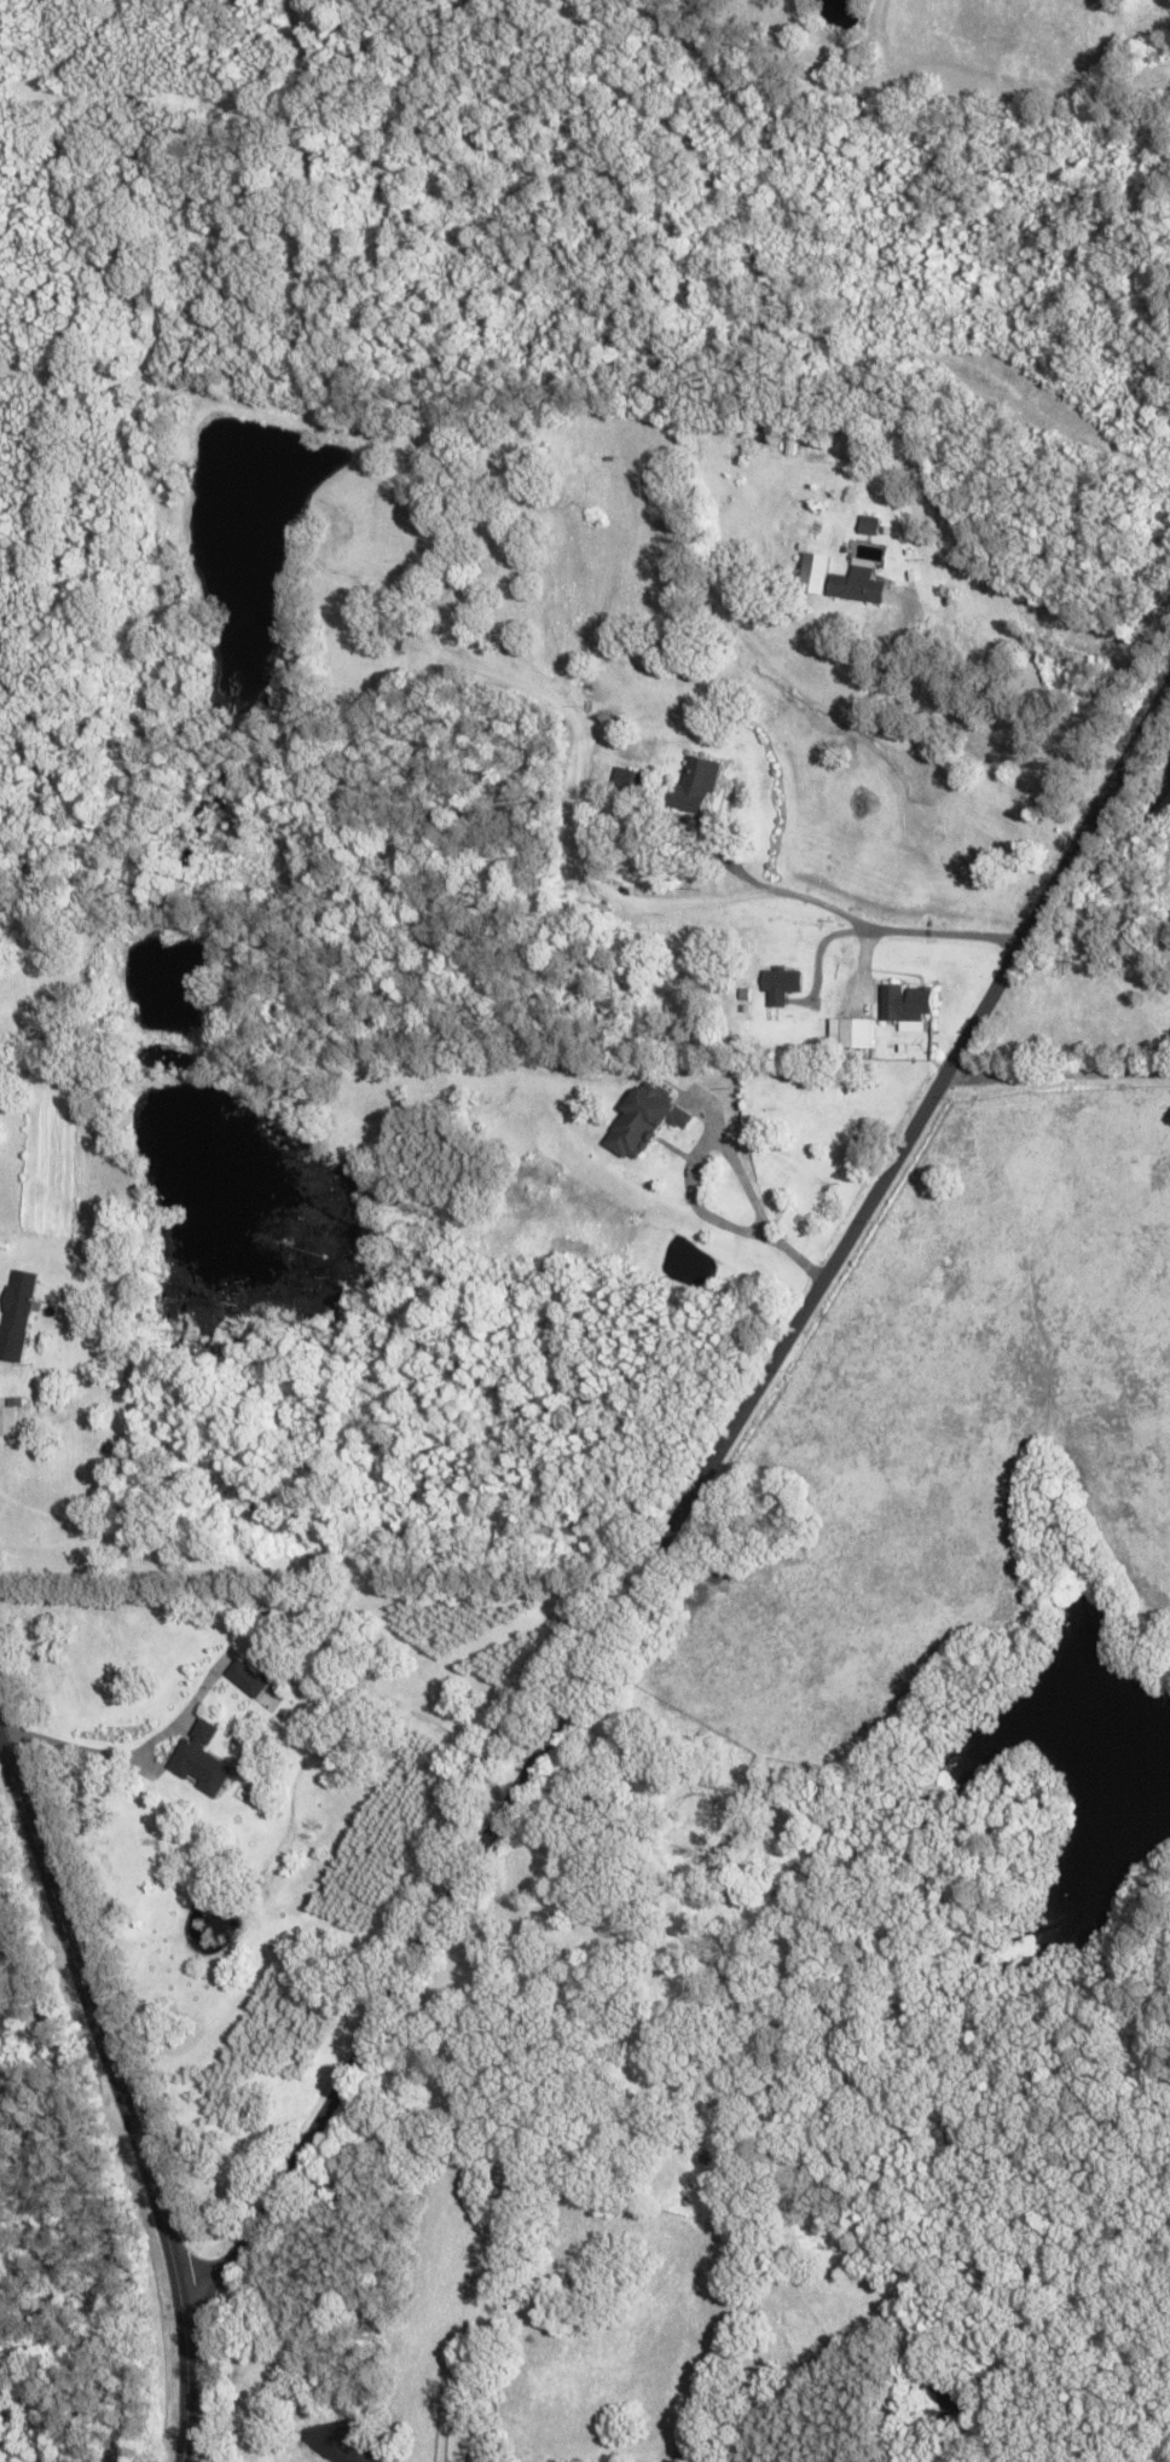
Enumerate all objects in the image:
building: (869, 527)
building: (858, 588)
building: (629, 782)
building: (697, 787)
building: (622, 814)
road: (644, 902)
building: (781, 988)
building: (908, 1005)
building: (852, 1035)
road: (1061, 1076)
building: (647, 1125)
road: (728, 1154)
building: (19, 1318)
building: (8, 1424)
road: (685, 1524)
building: (201, 1772)
road: (121, 2099)

